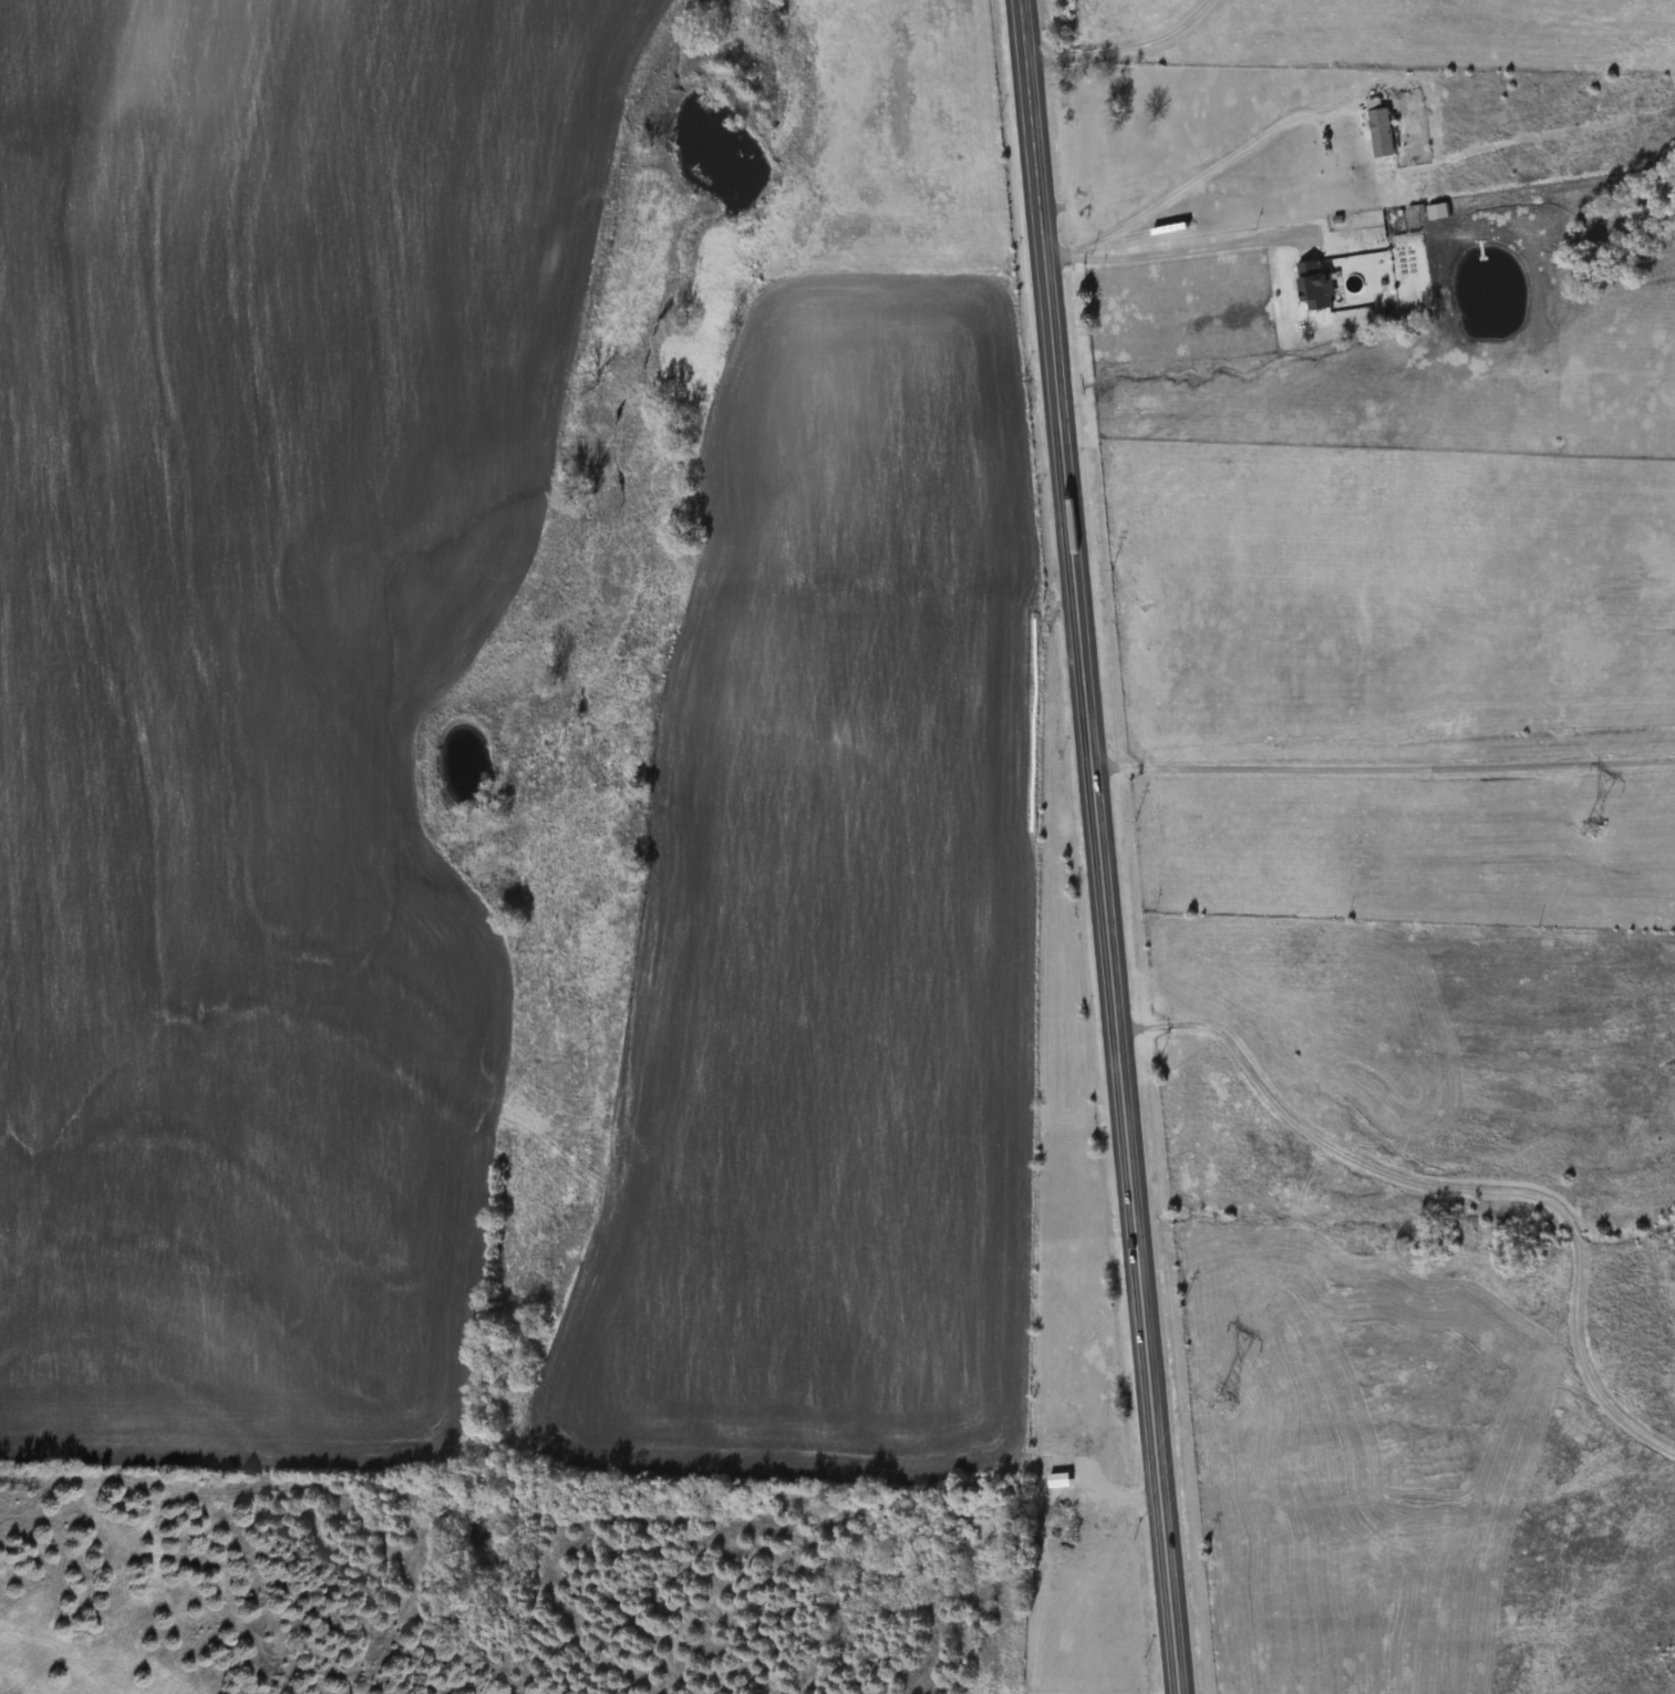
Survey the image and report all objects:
road: (1125, 44)
building: (1382, 131)
road: (1192, 180)
road: (1178, 249)
building: (1316, 287)
road: (1385, 765)
power tower: (1592, 827)
road: (1104, 847)
road: (1458, 1186)
power tower: (1227, 1402)
road: (1116, 1497)

